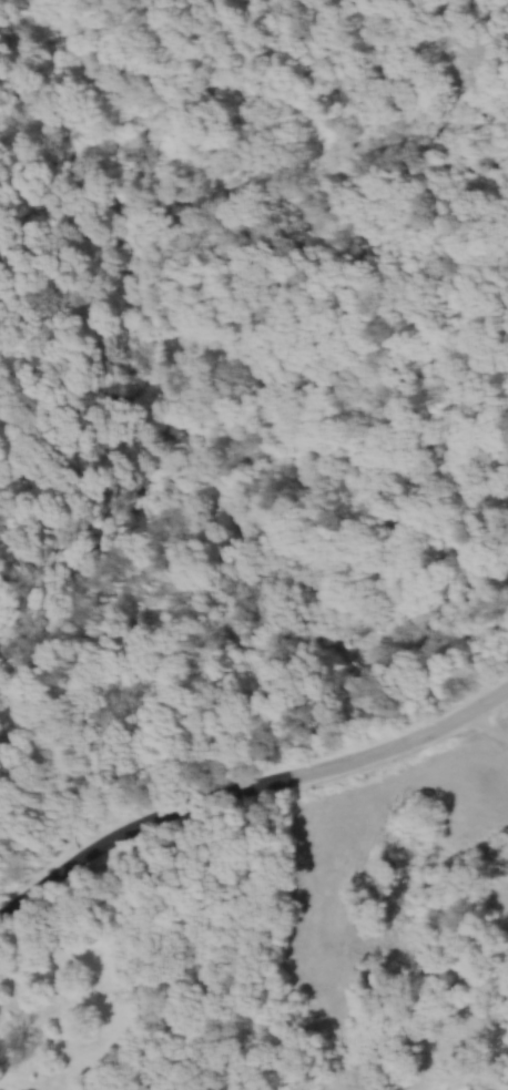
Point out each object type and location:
road: (484, 722)
road: (243, 781)

